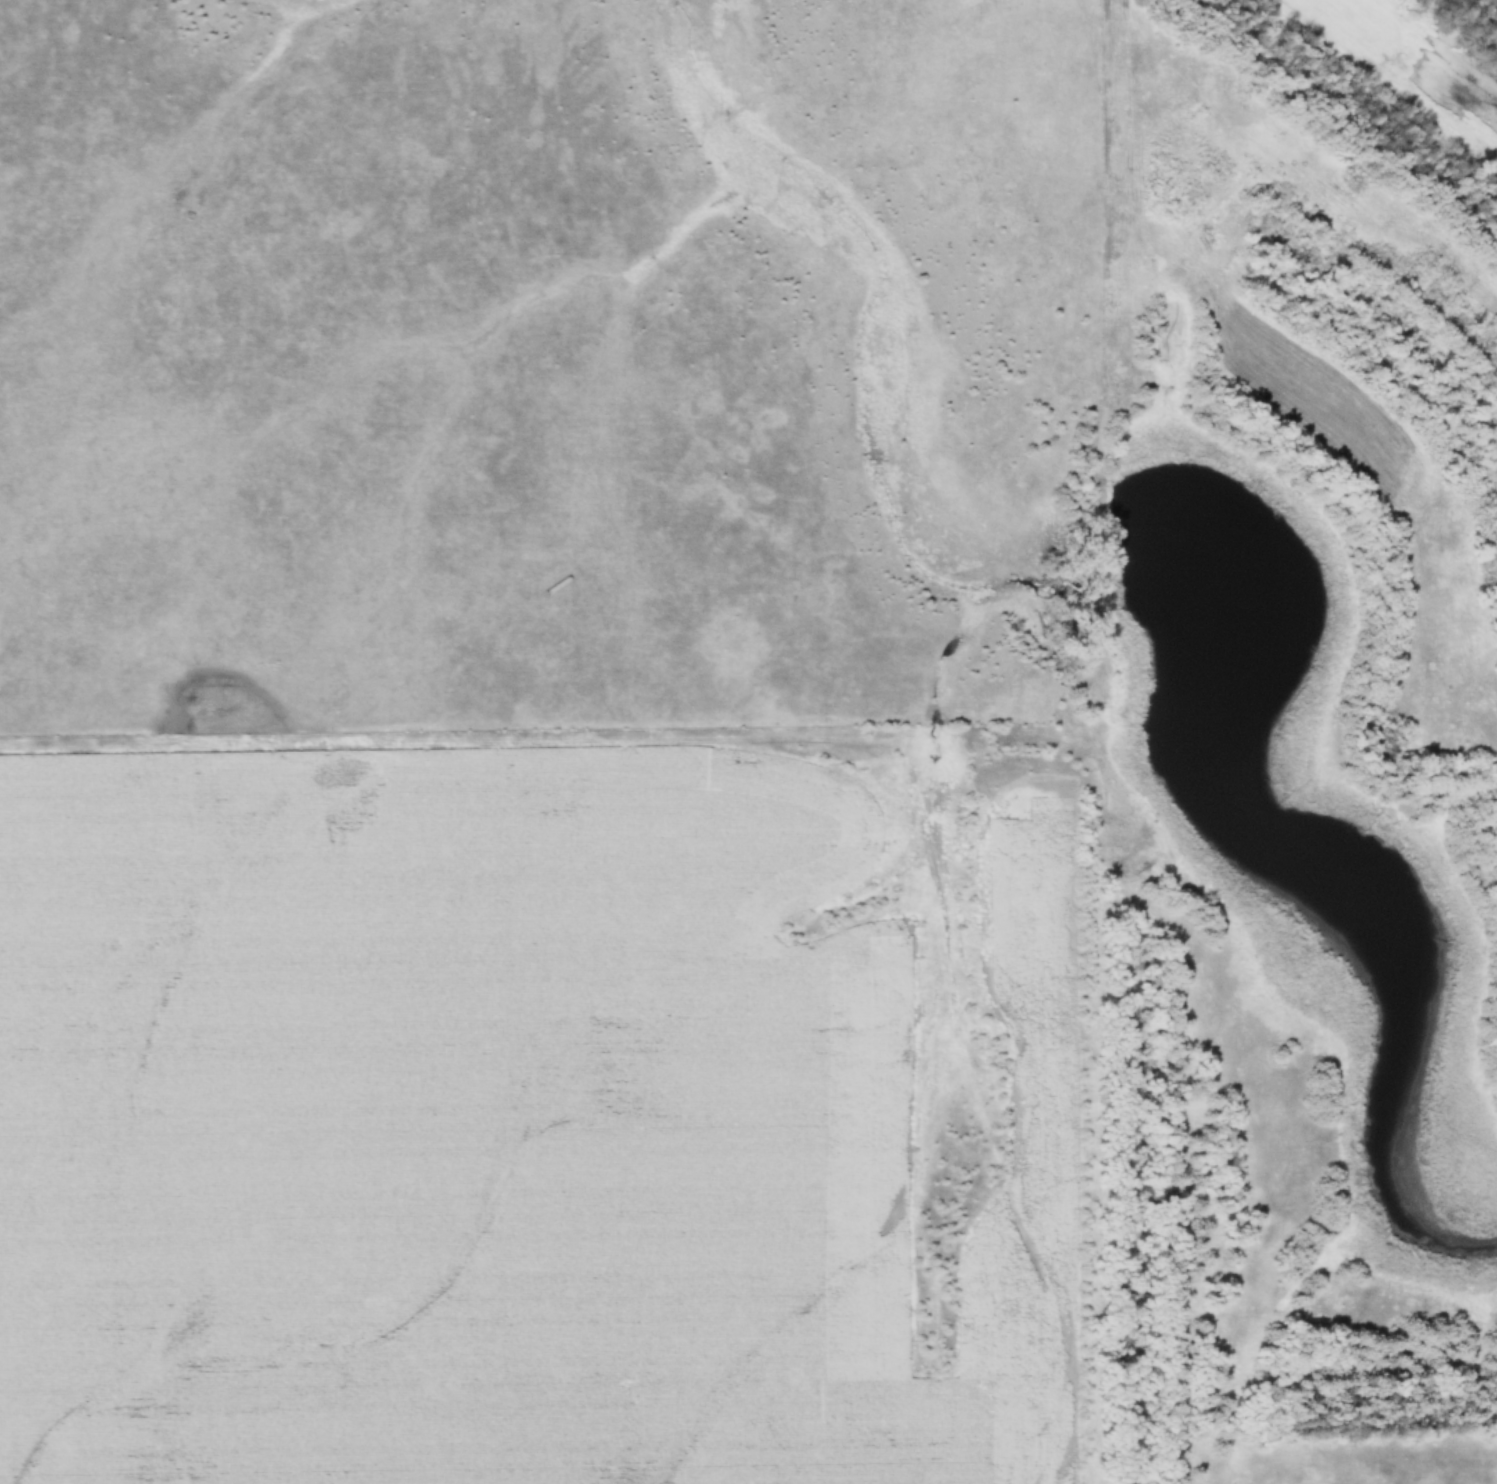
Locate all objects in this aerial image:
dam: (1109, 531)

